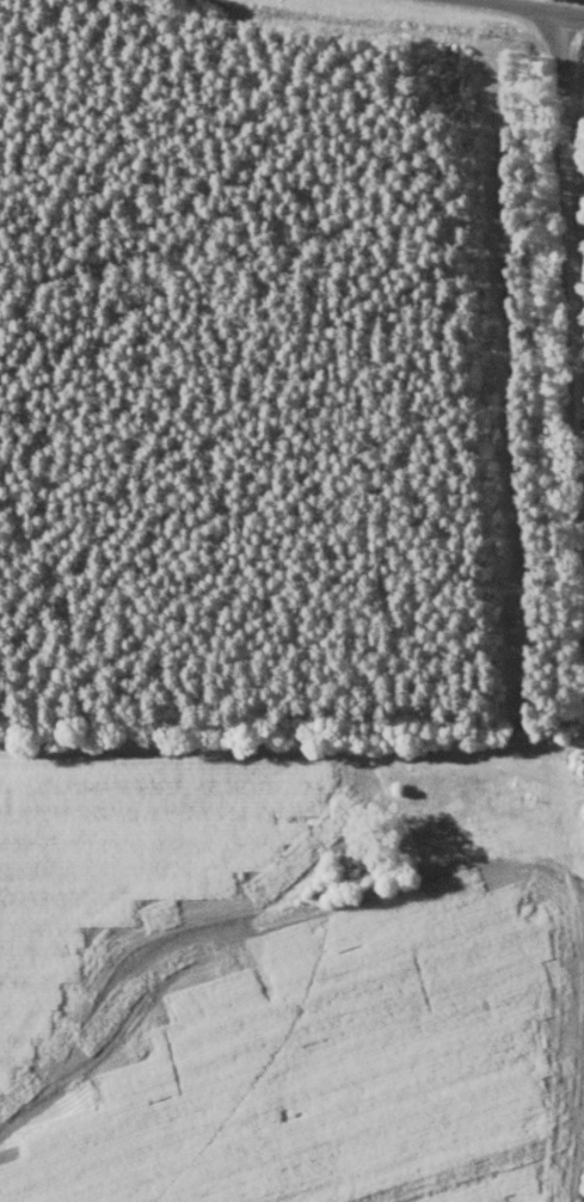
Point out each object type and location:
road: (535, 6)
road: (571, 257)
road: (466, 760)

